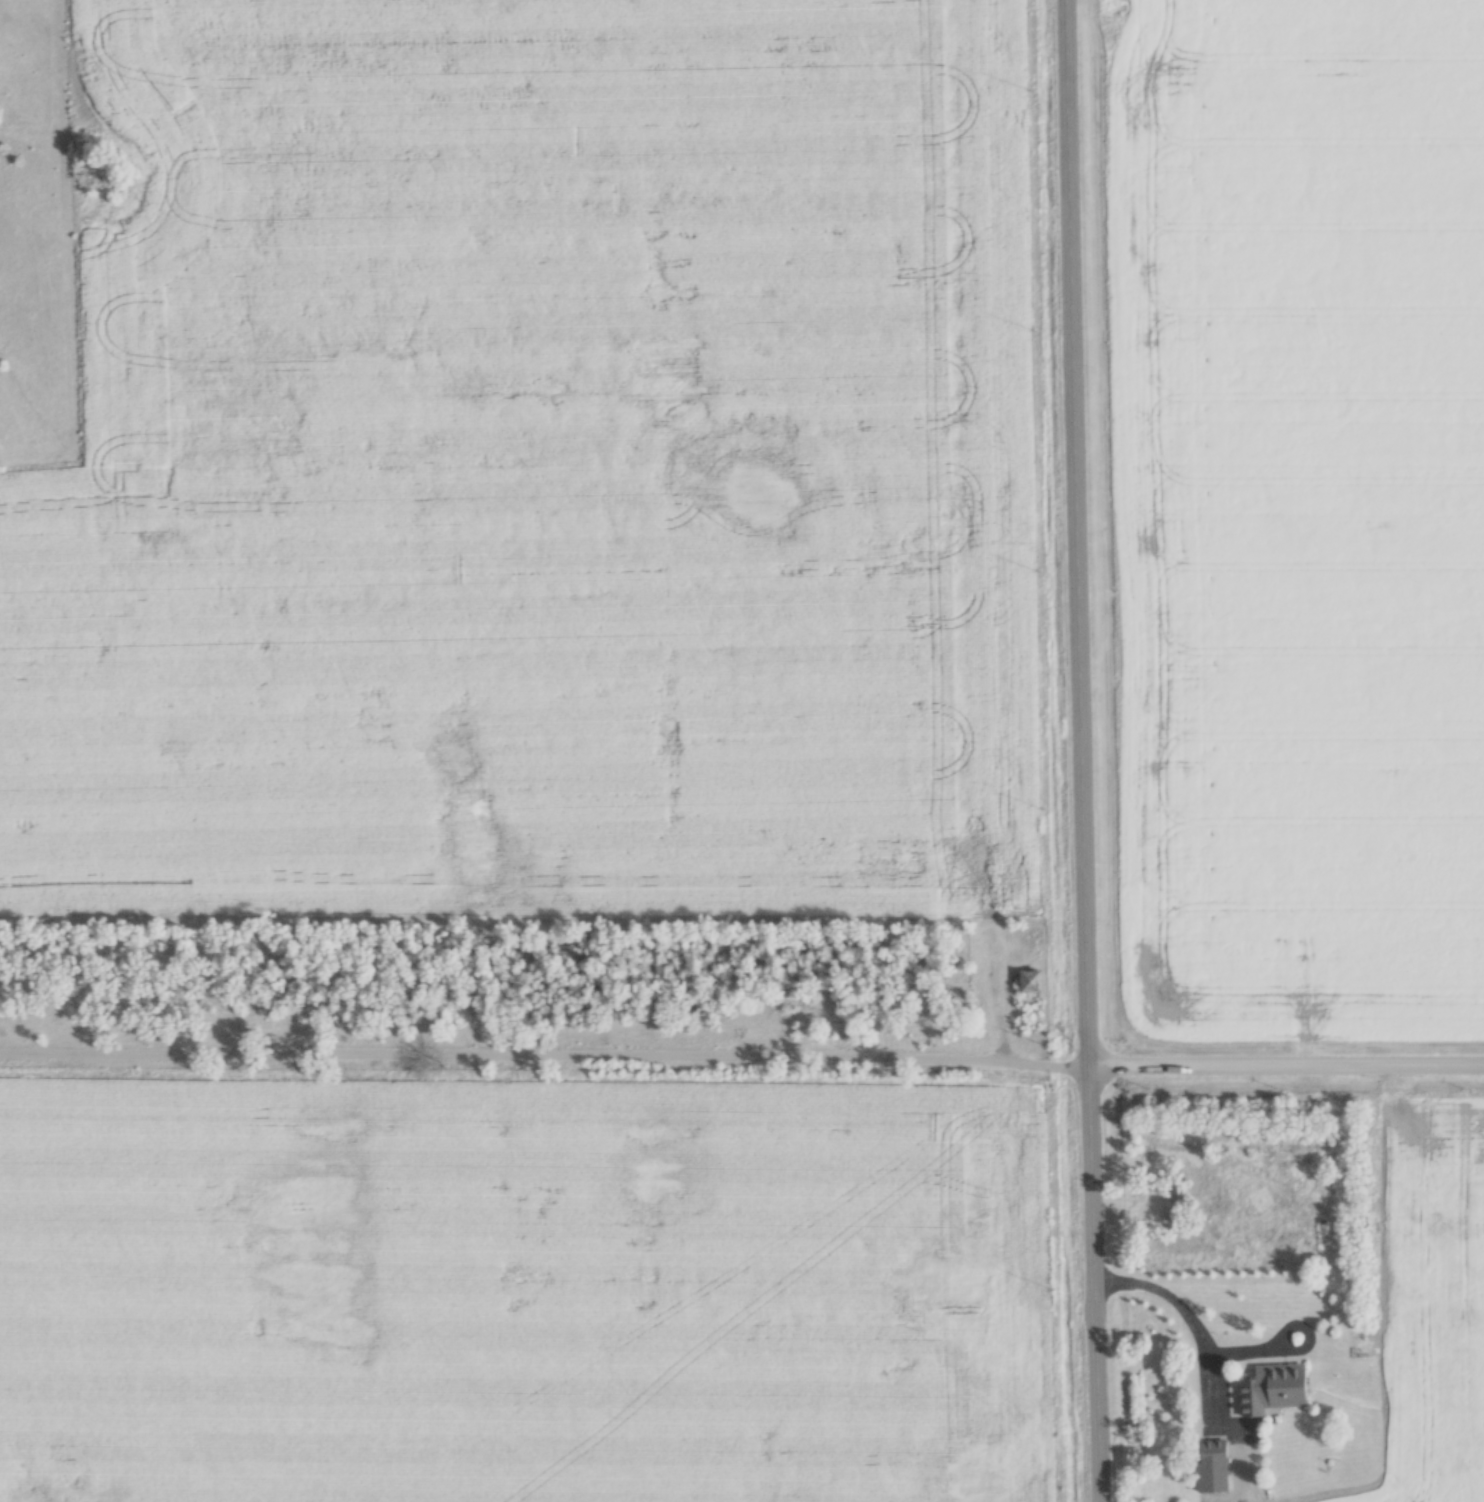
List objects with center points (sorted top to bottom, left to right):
crop: (1297, 514)
road: (1085, 751)
road: (545, 1055)
road: (1288, 1062)
road: (1182, 1300)
building: (1274, 1388)
building: (1208, 1466)

